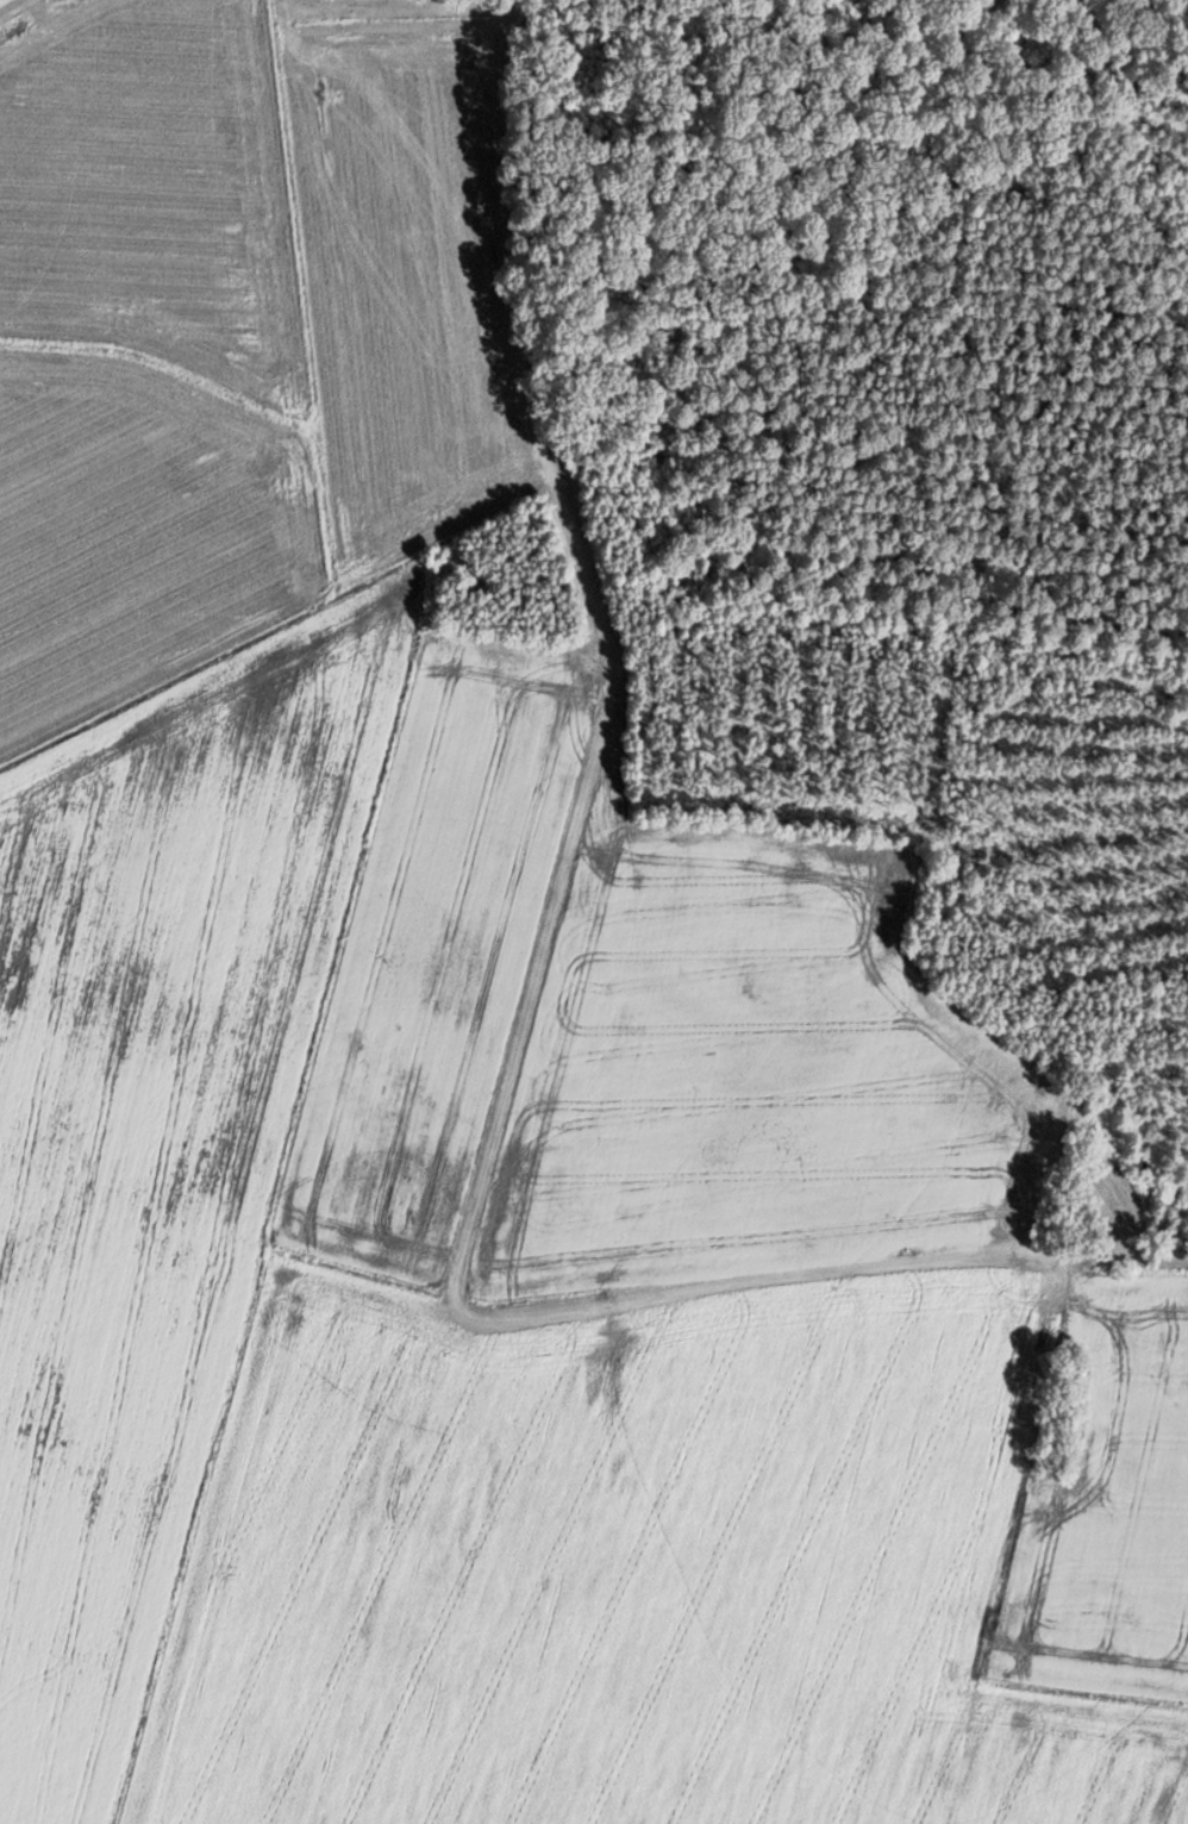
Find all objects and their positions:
building: (1171, 1195)
road: (1089, 1250)

